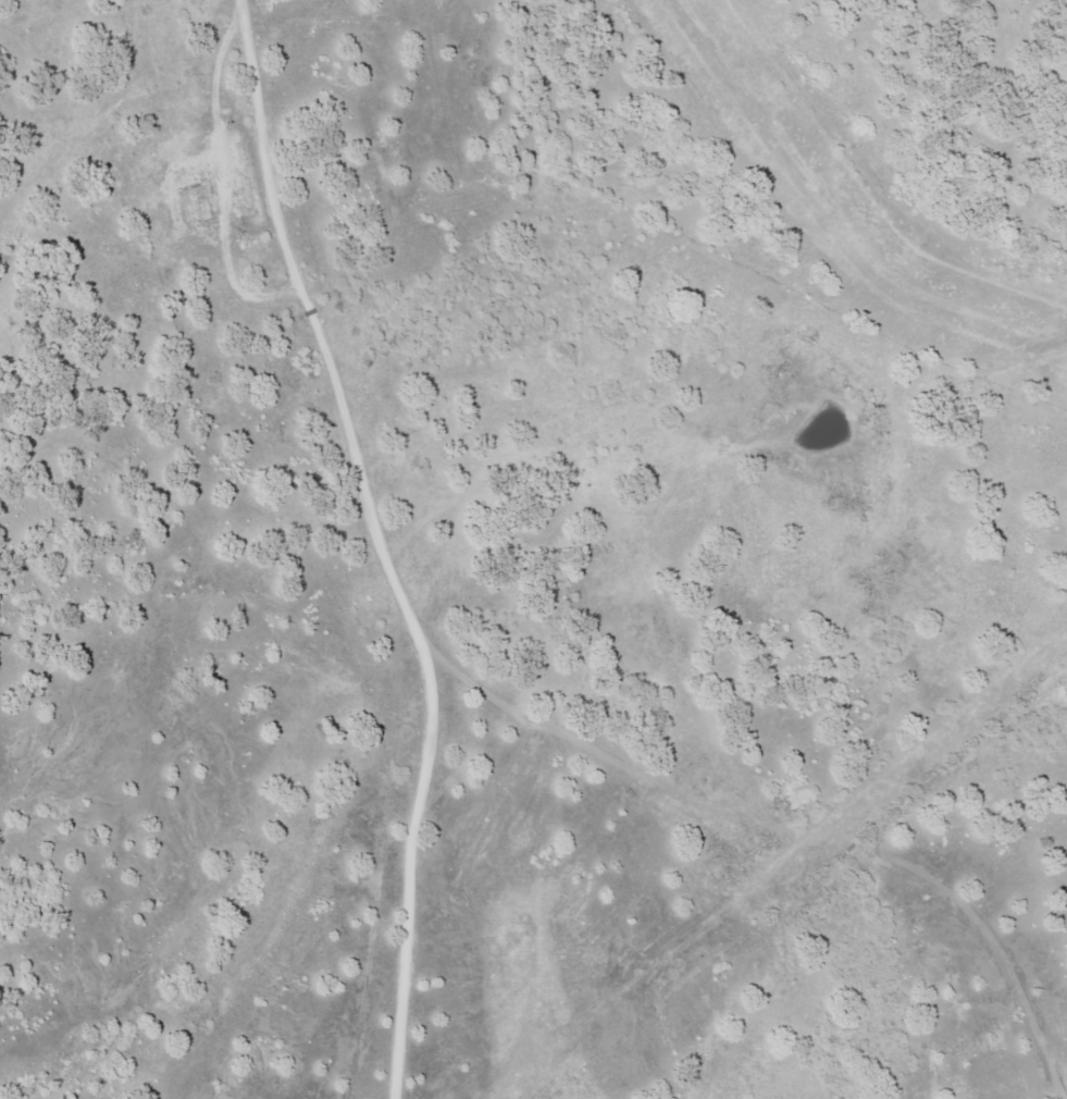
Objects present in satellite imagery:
road: (385, 548)

